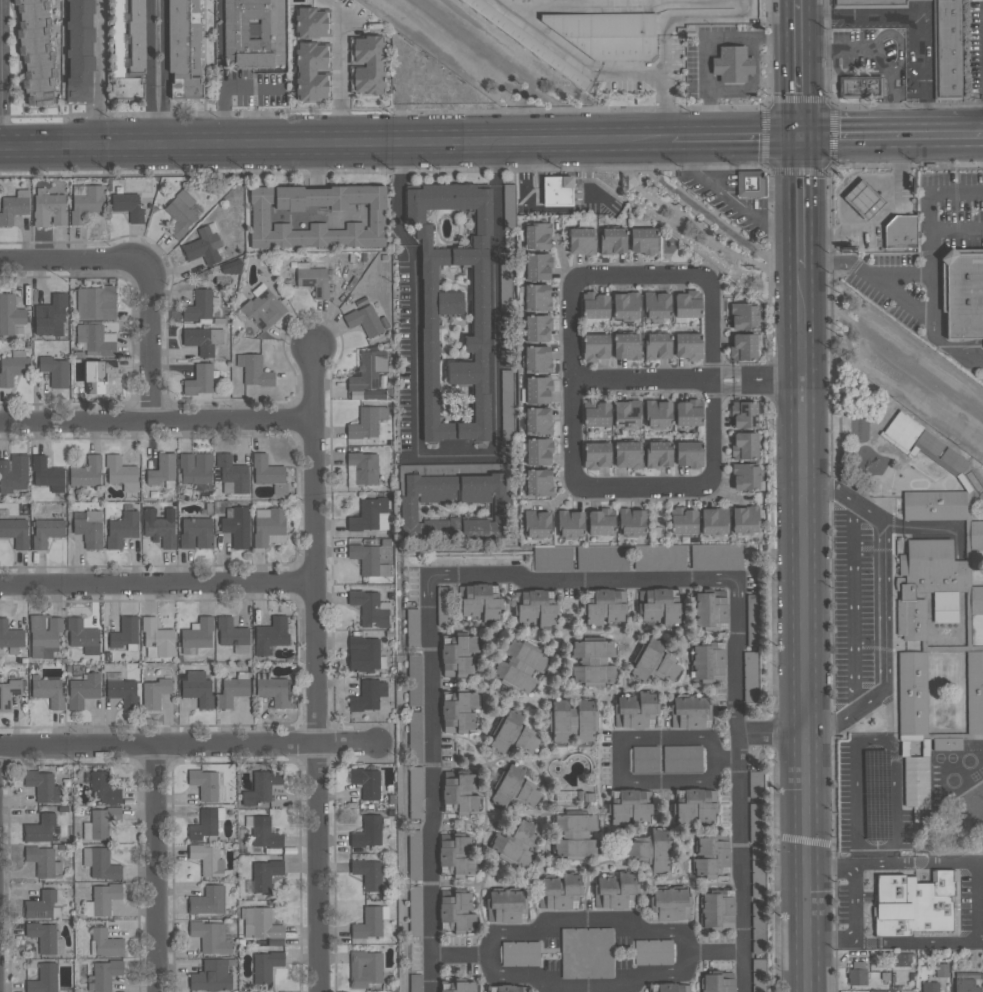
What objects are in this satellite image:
road: (799, 0)
building: (868, 3)
road: (688, 14)
road: (919, 16)
road: (353, 19)
building: (311, 22)
building: (253, 32)
building: (605, 35)
road: (884, 35)
building: (528, 40)
road: (97, 42)
road: (706, 42)
building: (183, 47)
building: (947, 48)
building: (79, 50)
road: (817, 50)
building: (35, 52)
building: (132, 54)
road: (573, 57)
building: (731, 63)
building: (367, 64)
road: (800, 69)
road: (341, 70)
building: (311, 72)
road: (154, 74)
road: (0, 75)
road: (852, 75)
building: (861, 87)
road: (666, 105)
road: (891, 105)
road: (99, 116)
road: (891, 138)
road: (737, 139)
traffic signals: (800, 139)
road: (521, 143)
road: (183, 147)
road: (524, 173)
road: (588, 175)
building: (749, 183)
building: (556, 190)
road: (556, 196)
building: (863, 199)
building: (84, 201)
road: (730, 201)
road: (800, 204)
building: (127, 205)
road: (930, 205)
building: (13, 206)
building: (508, 206)
building: (48, 208)
building: (182, 212)
building: (316, 216)
road: (879, 216)
road: (707, 218)
road: (694, 226)
park: (696, 227)
building: (899, 232)
building: (536, 236)
building: (580, 240)
building: (611, 240)
building: (643, 240)
building: (203, 245)
road: (72, 265)
building: (537, 266)
building: (231, 267)
road: (866, 268)
building: (312, 279)
building: (504, 281)
building: (962, 294)
road: (415, 297)
building: (537, 297)
road: (496, 299)
building: (95, 302)
building: (687, 304)
building: (199, 305)
building: (595, 305)
building: (625, 305)
building: (656, 305)
building: (263, 307)
building: (453, 307)
building: (9, 313)
building: (50, 316)
building: (743, 316)
building: (364, 319)
road: (802, 324)
building: (537, 328)
road: (933, 331)
building: (96, 339)
building: (203, 339)
road: (148, 342)
building: (625, 345)
building: (657, 345)
building: (688, 345)
building: (595, 347)
building: (742, 347)
building: (537, 358)
building: (13, 366)
building: (53, 370)
building: (254, 370)
building: (368, 370)
building: (97, 374)
building: (199, 379)
road: (665, 379)
road: (780, 379)
road: (713, 380)
road: (312, 383)
building: (537, 389)
building: (507, 404)
building: (688, 412)
building: (596, 413)
building: (626, 413)
building: (657, 413)
building: (743, 414)
road: (154, 419)
building: (540, 420)
building: (366, 421)
building: (921, 443)
building: (743, 445)
building: (538, 450)
road: (456, 453)
building: (657, 454)
building: (688, 454)
building: (596, 455)
building: (626, 455)
building: (362, 467)
building: (195, 468)
building: (162, 469)
building: (86, 472)
building: (120, 472)
building: (268, 472)
building: (13, 473)
building: (46, 474)
building: (231, 474)
building: (744, 476)
building: (538, 482)
road: (827, 486)
building: (934, 504)
building: (453, 506)
building: (367, 513)
building: (745, 519)
building: (683, 520)
building: (714, 520)
building: (600, 521)
building: (631, 521)
building: (537, 523)
building: (569, 523)
building: (269, 525)
building: (160, 526)
building: (237, 526)
building: (90, 528)
building: (122, 528)
building: (15, 531)
building: (46, 531)
building: (196, 532)
building: (976, 533)
building: (365, 557)
building: (637, 558)
road: (581, 577)
building: (925, 581)
road: (157, 584)
building: (478, 600)
building: (658, 605)
road: (853, 605)
building: (534, 606)
building: (604, 606)
road: (883, 606)
building: (369, 607)
building: (710, 608)
building: (976, 613)
building: (751, 620)
building: (412, 627)
building: (231, 631)
building: (125, 632)
building: (198, 632)
building: (44, 634)
building: (271, 634)
building: (10, 635)
building: (83, 635)
building: (158, 636)
building: (363, 653)
building: (458, 655)
building: (654, 660)
building: (593, 661)
building: (708, 663)
building: (519, 665)
building: (749, 675)
building: (414, 679)
road: (806, 685)
building: (198, 688)
building: (83, 689)
building: (232, 690)
building: (8, 691)
building: (49, 691)
building: (123, 691)
building: (274, 691)
building: (974, 691)
building: (155, 692)
building: (912, 692)
building: (368, 694)
road: (317, 705)
building: (635, 709)
building: (459, 710)
building: (689, 711)
building: (572, 720)
road: (830, 724)
road: (773, 727)
building: (513, 733)
building: (414, 736)
building: (946, 743)
road: (188, 745)
building: (644, 758)
building: (682, 758)
road: (621, 761)
road: (725, 761)
building: (915, 780)
building: (366, 781)
building: (208, 782)
building: (754, 784)
building: (43, 785)
building: (261, 786)
building: (103, 787)
building: (514, 787)
building: (459, 790)
building: (415, 791)
road: (953, 801)
building: (695, 805)
building: (629, 806)
building: (103, 820)
building: (753, 822)
building: (204, 824)
building: (39, 828)
building: (367, 831)
building: (264, 832)
road: (949, 833)
building: (574, 835)
building: (516, 842)
building: (651, 848)
building: (456, 853)
building: (414, 854)
building: (711, 855)
building: (41, 859)
building: (207, 859)
building: (103, 864)
road: (896, 866)
road: (154, 869)
building: (756, 871)
building: (265, 873)
building: (368, 873)
building: (614, 890)
building: (558, 891)
building: (104, 897)
building: (208, 900)
road: (978, 902)
building: (669, 903)
road: (854, 903)
building: (913, 903)
building: (40, 904)
building: (505, 905)
building: (456, 909)
building: (718, 909)
building: (415, 911)
road: (587, 920)
building: (259, 922)
building: (368, 922)
building: (757, 928)
building: (42, 935)
building: (210, 936)
road: (917, 939)
road: (832, 940)
building: (106, 941)
building: (652, 951)
building: (586, 952)
building: (519, 953)
road: (715, 954)
road: (461, 955)
building: (266, 965)
building: (365, 968)
building: (941, 970)
building: (105, 973)
building: (756, 975)
building: (856, 975)
building: (212, 976)
building: (44, 978)
building: (415, 982)
building: (717, 982)
road: (589, 985)
building: (966, 985)
building: (460, 987)
building: (673, 987)
building: (930, 987)
building: (508, 988)

